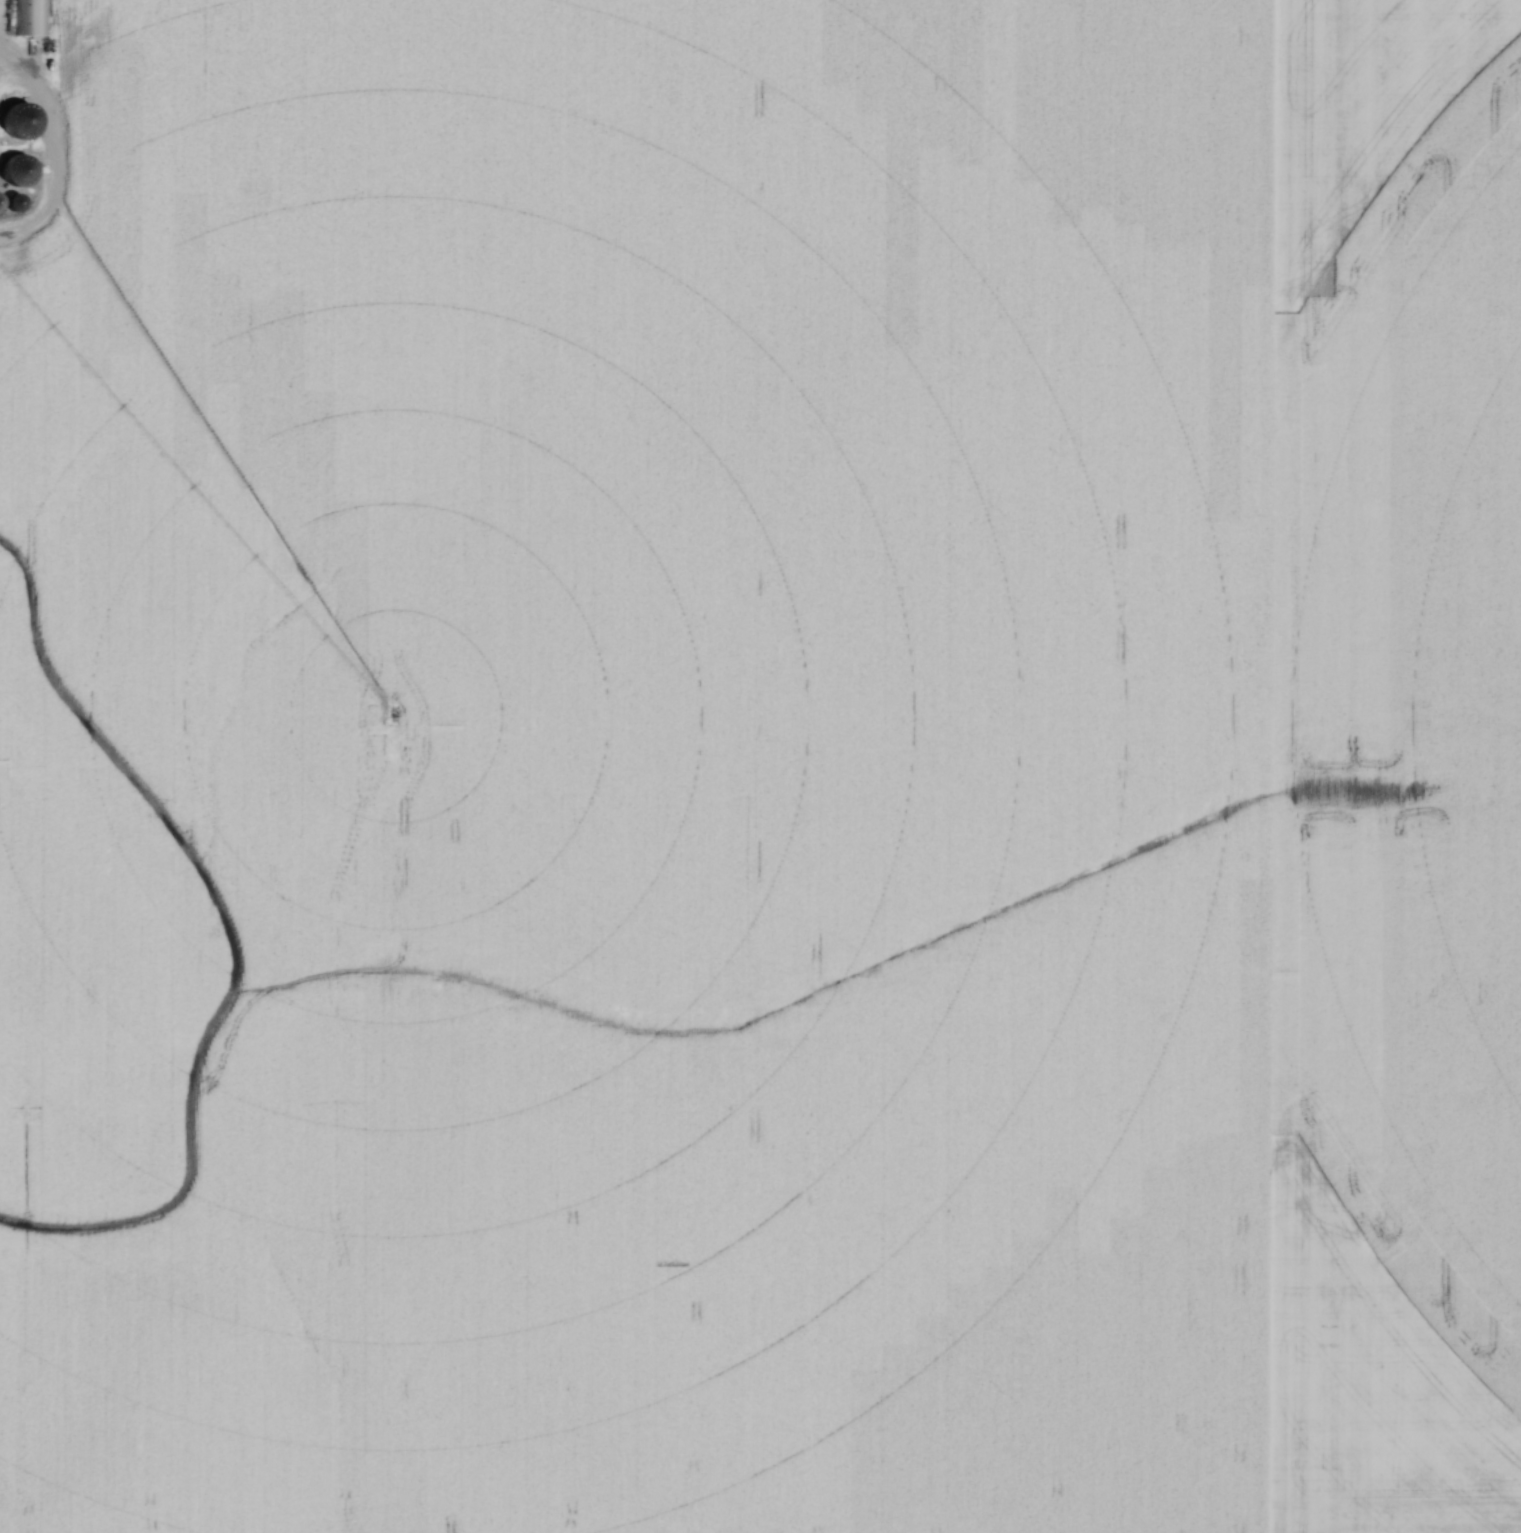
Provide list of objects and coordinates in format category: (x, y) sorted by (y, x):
building: (32, 18)
building: (21, 122)
building: (11, 171)
building: (10, 204)

